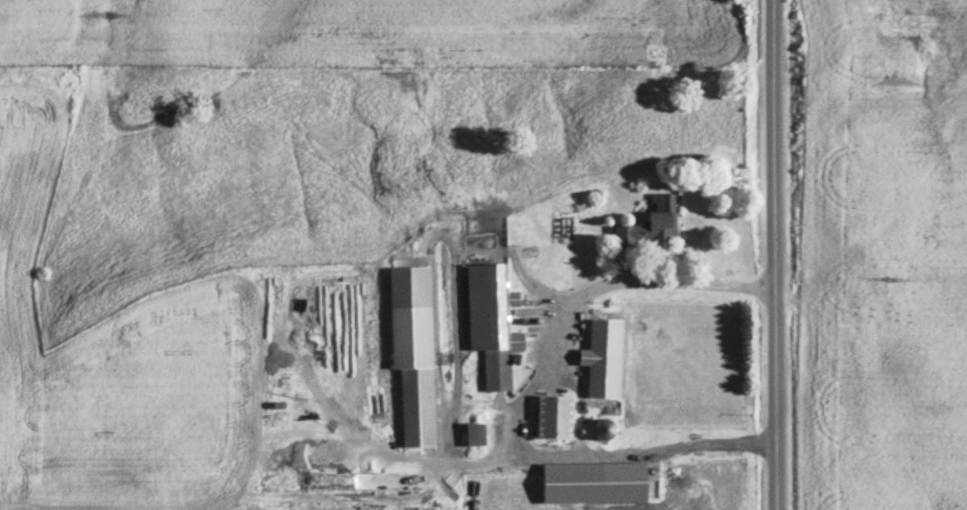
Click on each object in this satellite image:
building: (659, 222)
road: (775, 254)
road: (639, 277)
building: (500, 328)
building: (596, 384)
building: (417, 402)
building: (555, 417)
building: (567, 506)

